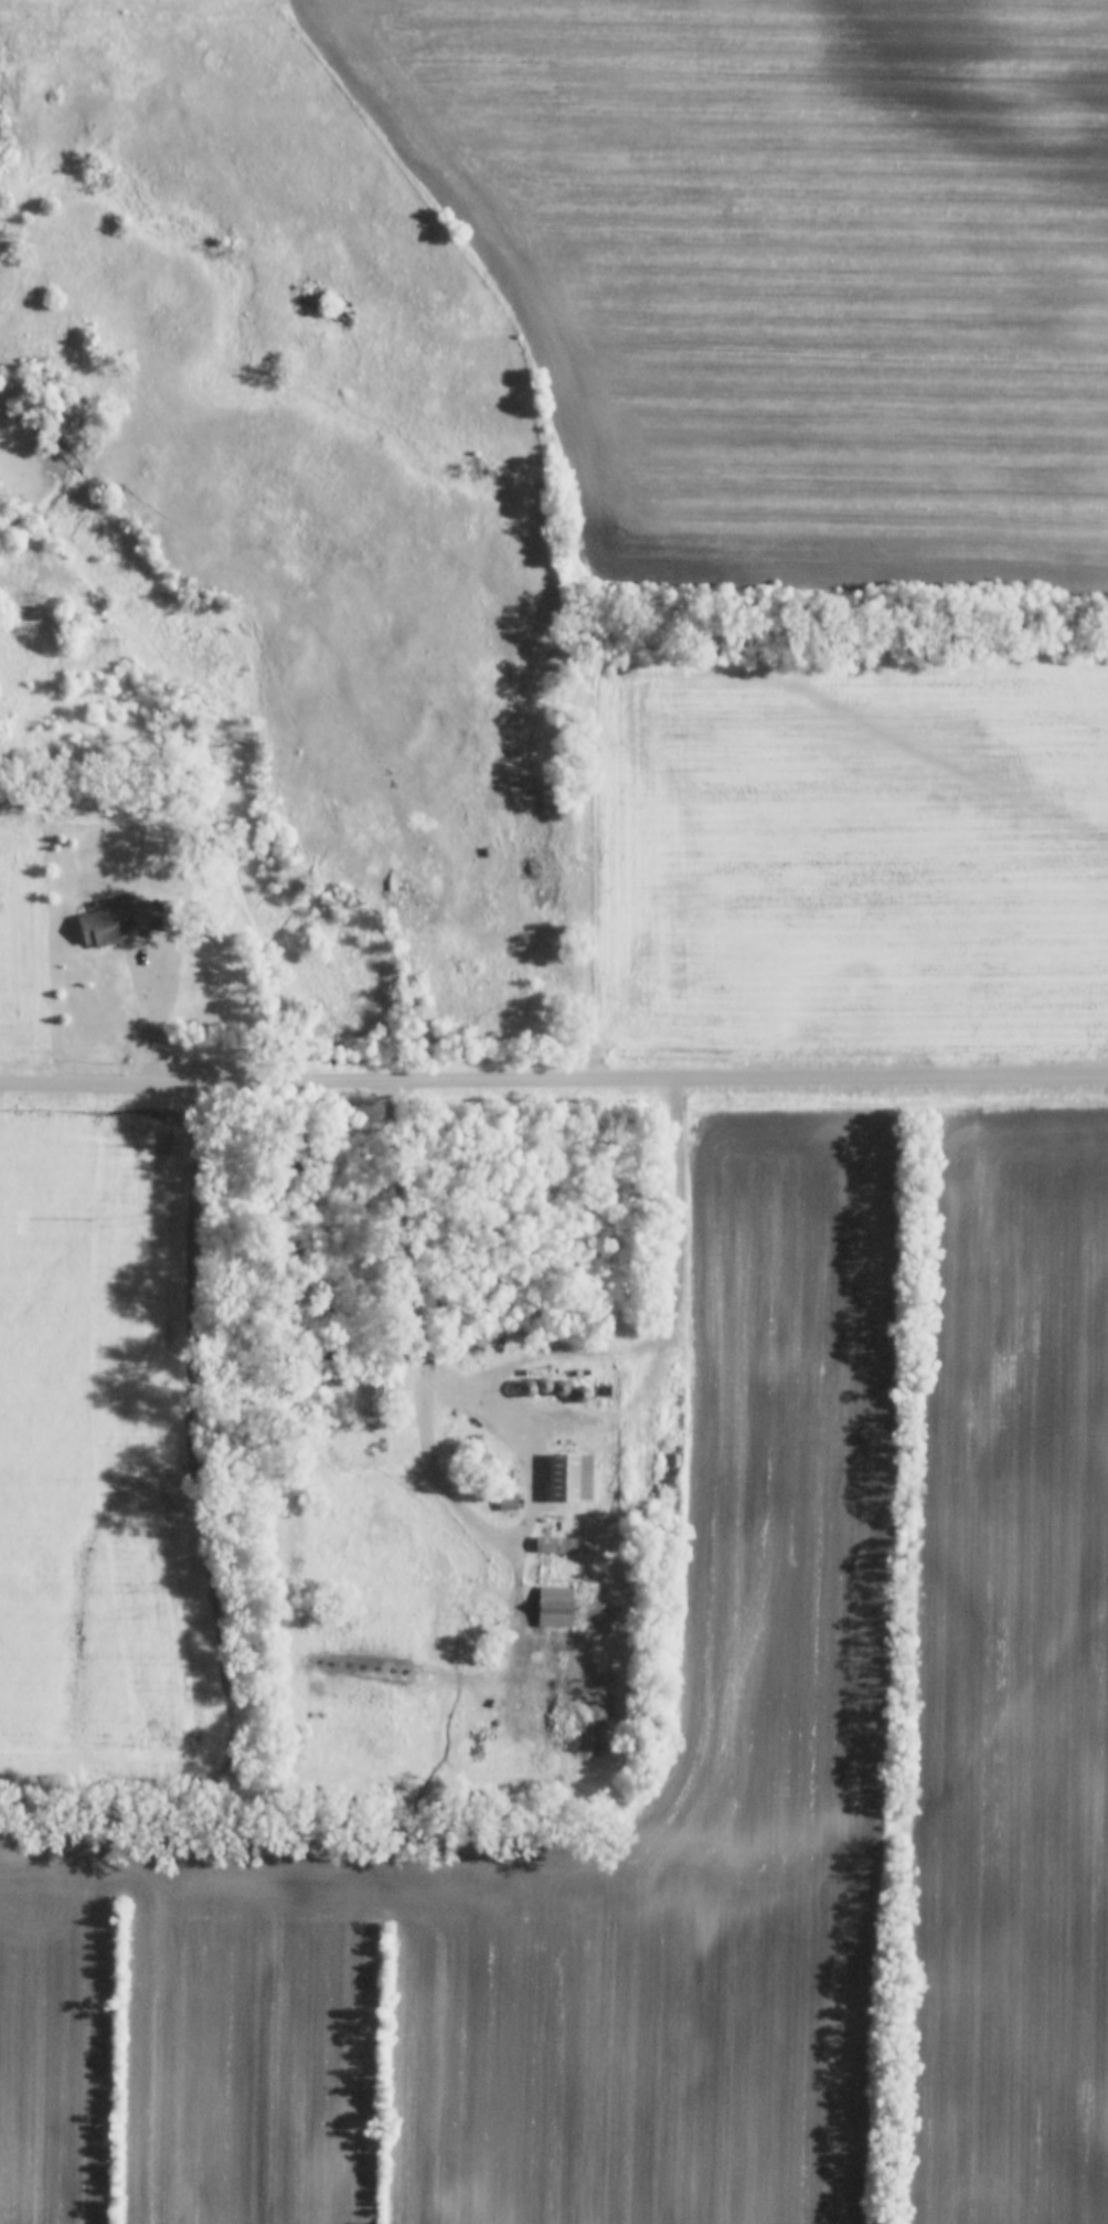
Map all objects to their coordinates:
building: (128, 921)
road: (138, 994)
road: (554, 1082)
road: (416, 1282)
building: (377, 1400)
building: (571, 1479)
building: (509, 1503)
building: (555, 1607)

